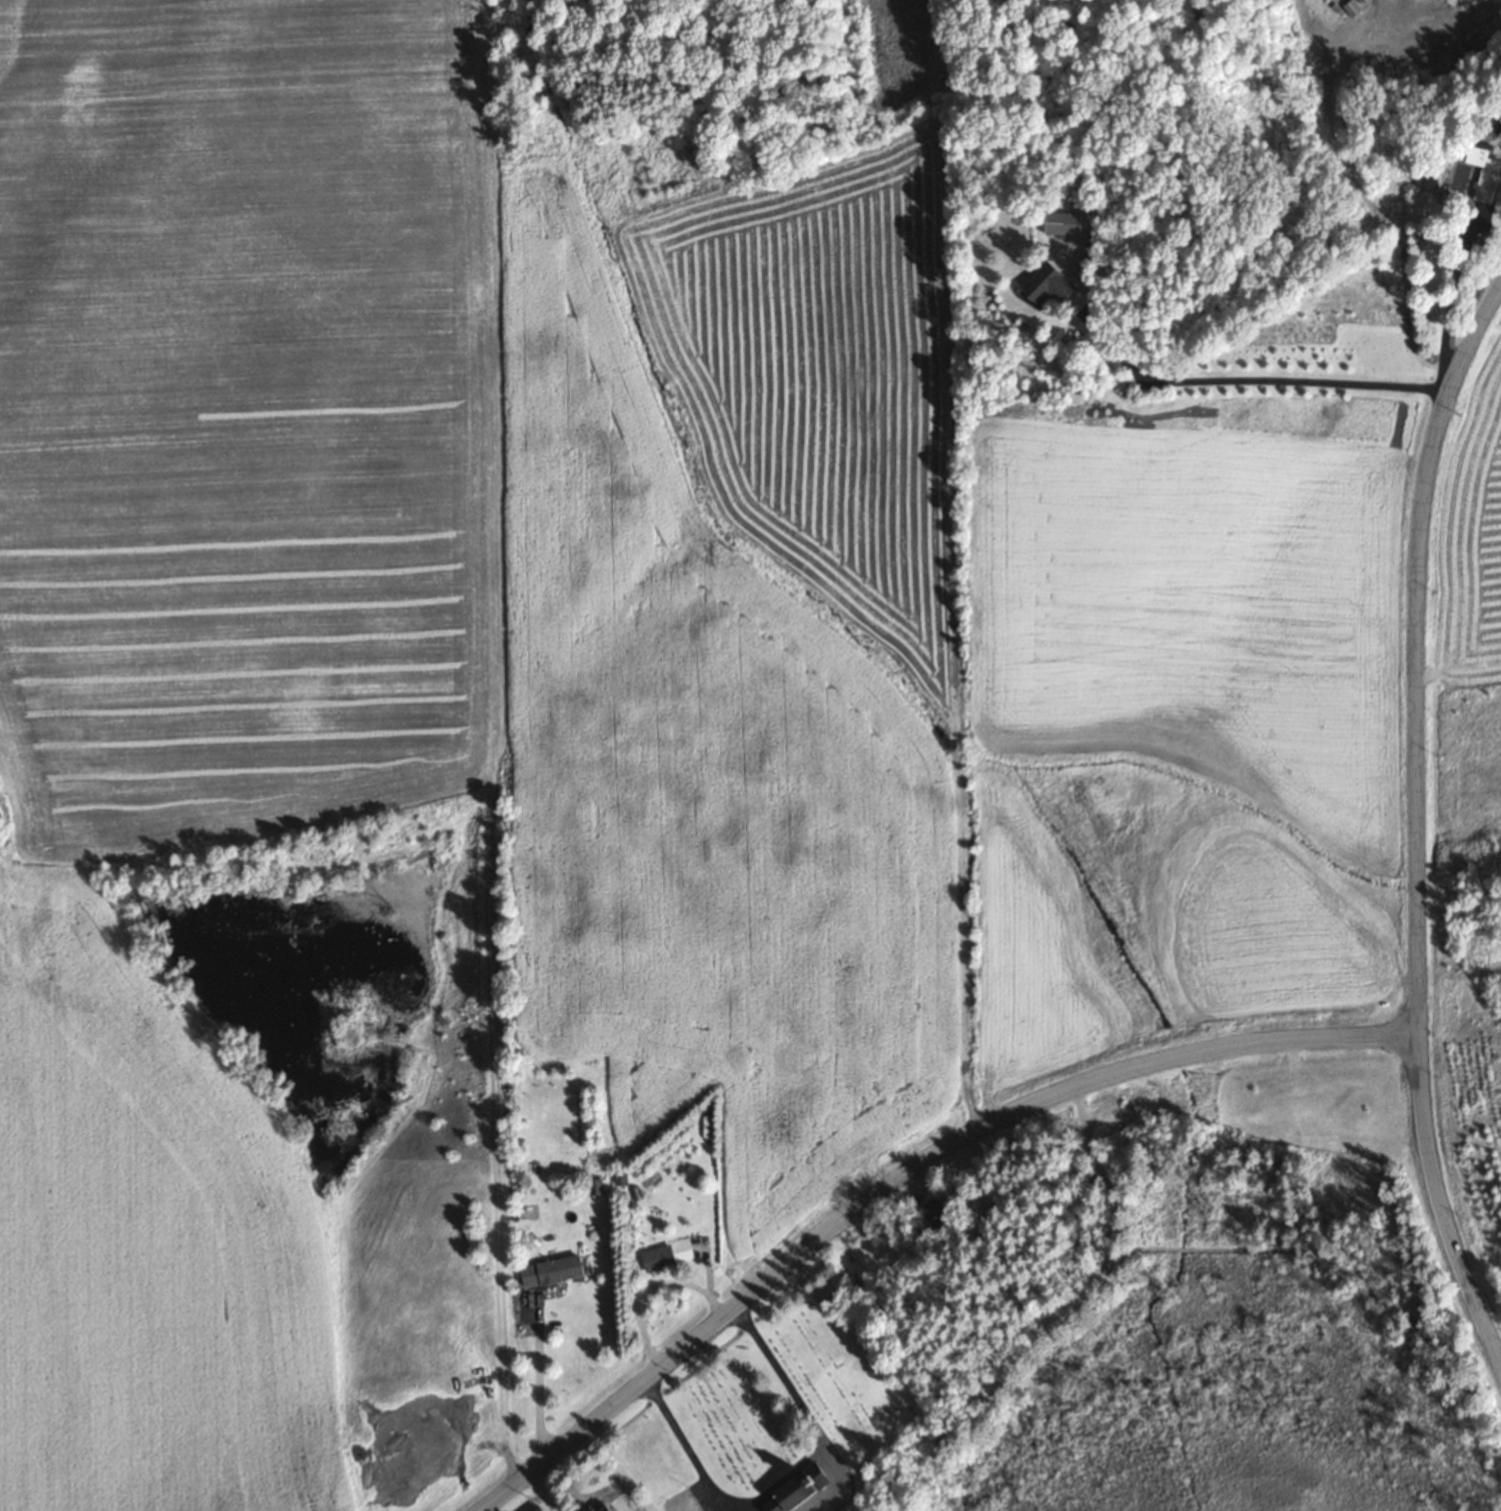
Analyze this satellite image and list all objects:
building: (1478, 173)
building: (1060, 223)
building: (1043, 285)
road: (1416, 654)
road: (903, 1174)
building: (593, 1187)
road: (1439, 1206)
building: (936, 1214)
building: (654, 1258)
building: (548, 1270)
building: (790, 1489)
building: (597, 1506)
building: (535, 1508)

